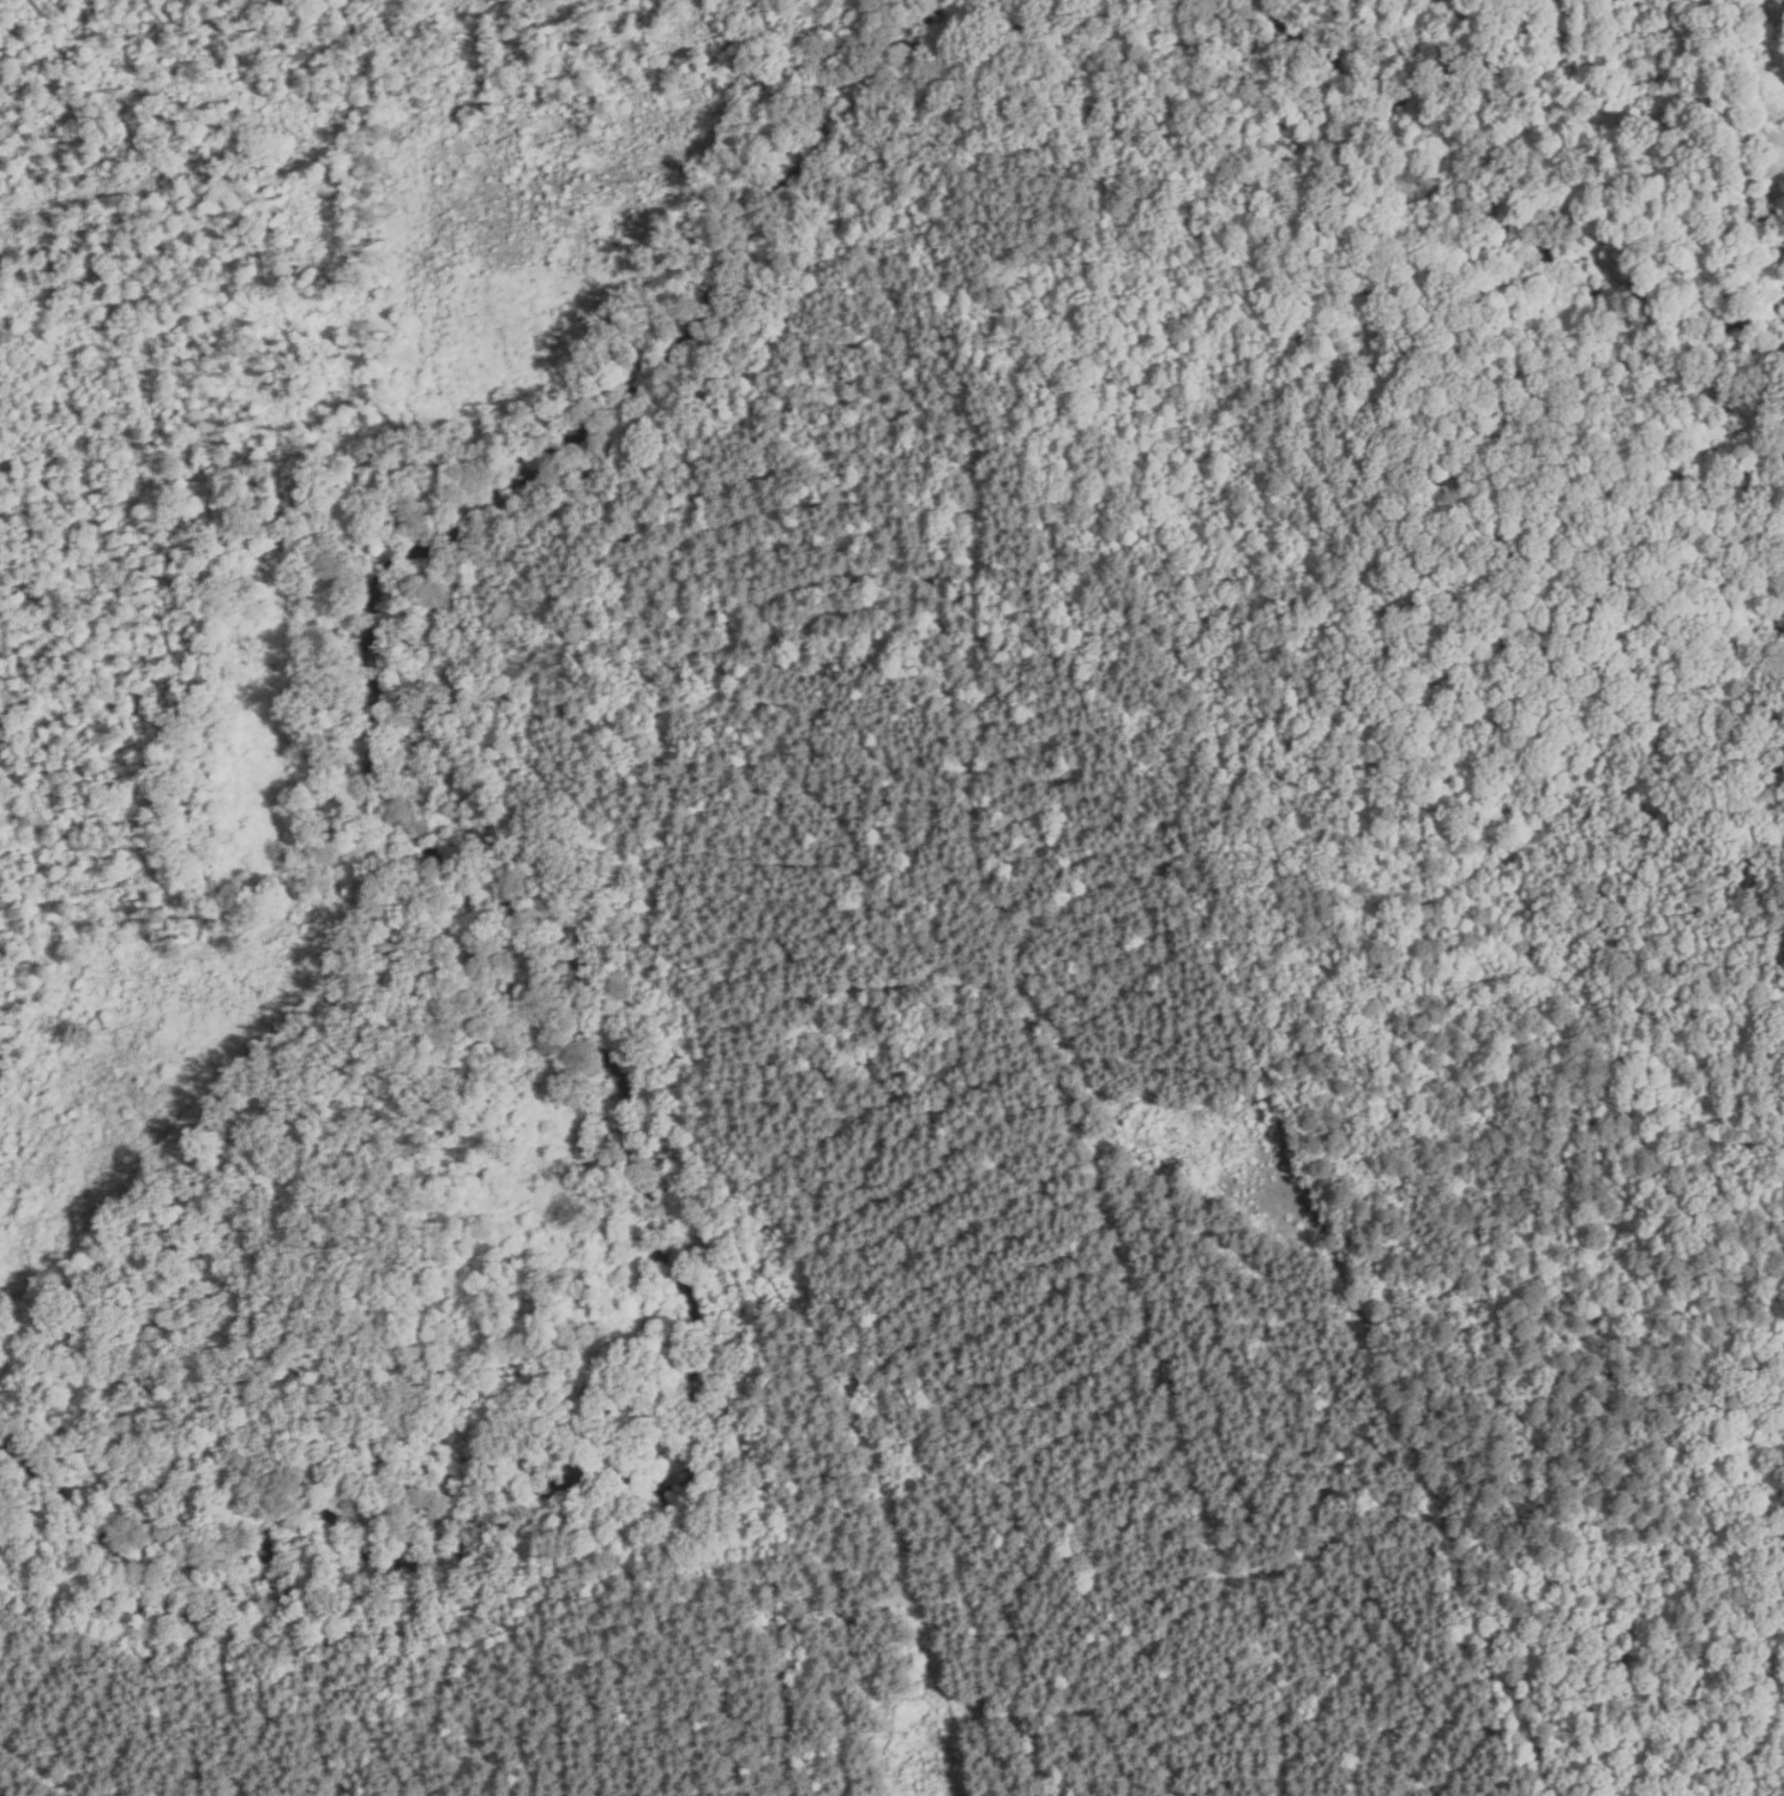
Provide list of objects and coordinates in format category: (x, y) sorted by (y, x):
road: (1723, 106)
building: (1720, 211)

